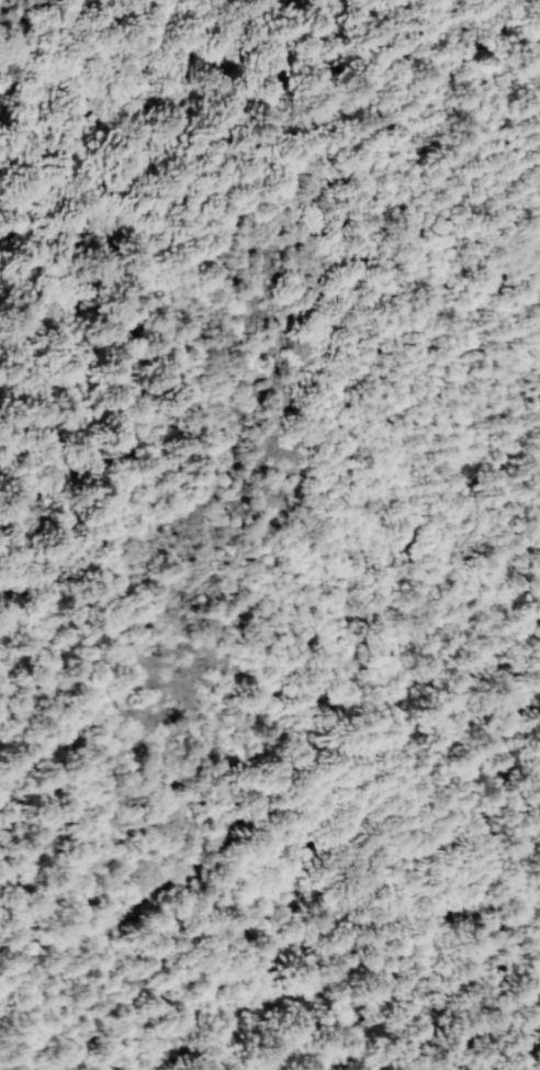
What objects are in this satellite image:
road: (266, 792)
road: (443, 945)

